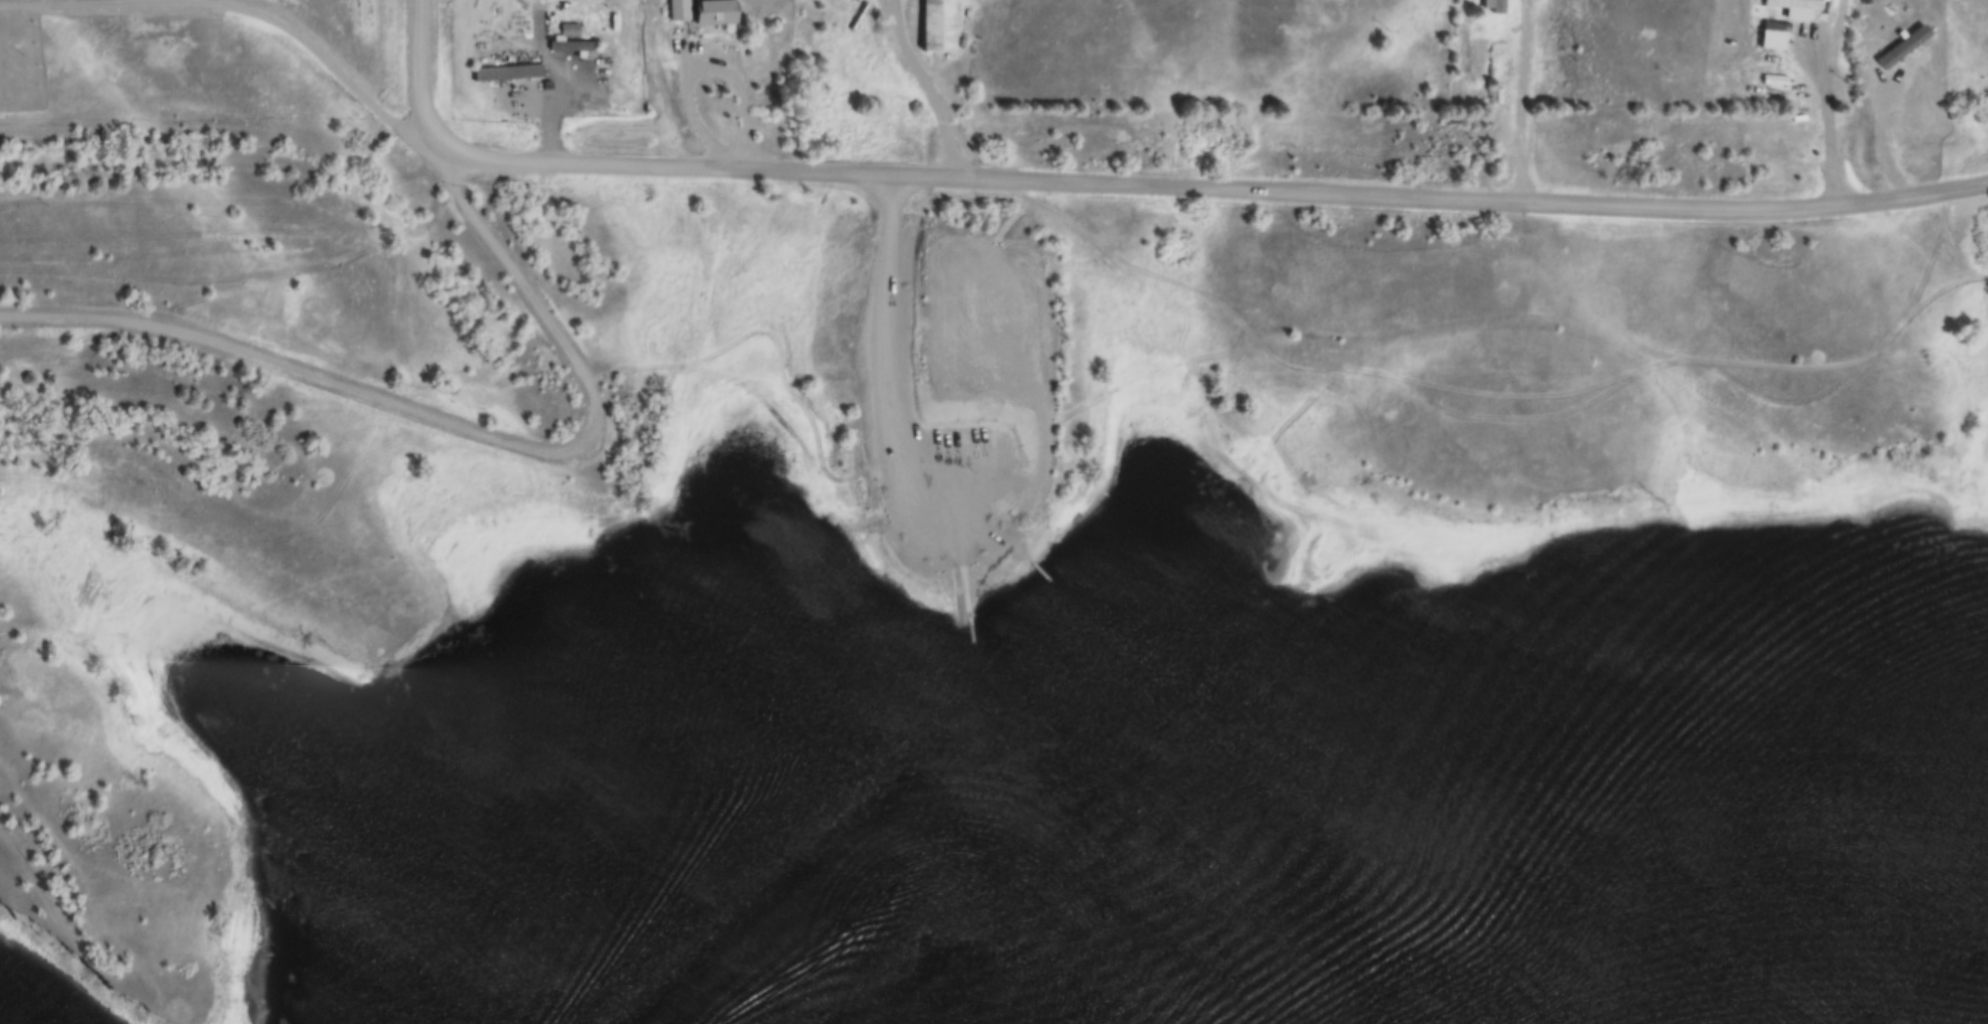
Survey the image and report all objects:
building: (1868, 0)
road: (177, 3)
building: (1799, 4)
building: (1498, 6)
building: (683, 11)
building: (720, 13)
road: (242, 17)
building: (941, 26)
building: (572, 30)
building: (575, 46)
building: (1908, 55)
road: (703, 73)
building: (512, 74)
road: (423, 77)
building: (1780, 81)
road: (927, 88)
road: (1519, 108)
road: (1881, 146)
road: (1213, 193)
road: (530, 286)
road: (459, 424)

